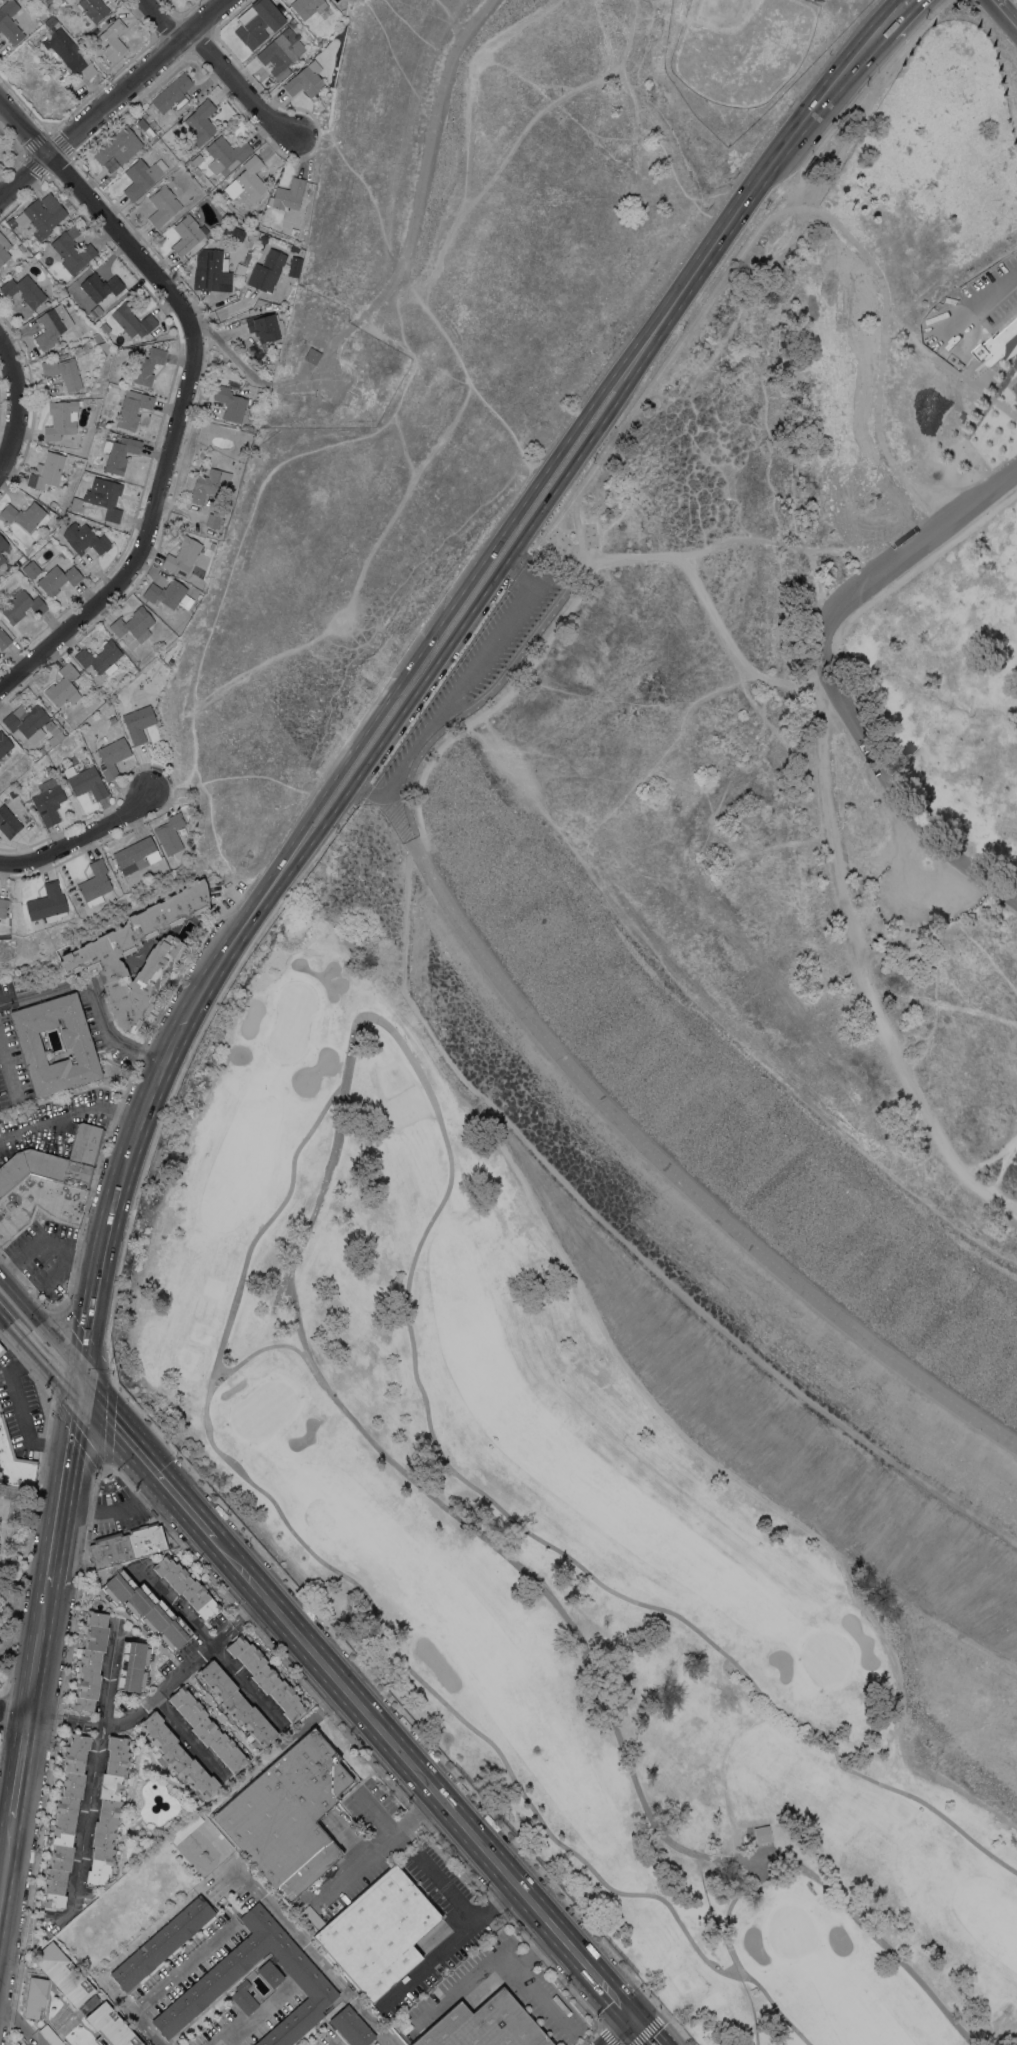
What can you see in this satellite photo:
park: (1015, 1)
building: (307, 7)
building: (92, 9)
road: (1004, 14)
road: (891, 15)
road: (159, 20)
building: (51, 21)
building: (9, 22)
building: (257, 22)
building: (44, 35)
building: (110, 40)
building: (29, 42)
park: (745, 48)
building: (69, 52)
building: (281, 52)
building: (37, 53)
road: (836, 77)
road: (871, 79)
building: (305, 80)
road: (238, 84)
building: (172, 94)
road: (112, 96)
building: (152, 123)
building: (199, 123)
building: (145, 128)
building: (116, 149)
building: (225, 155)
building: (197, 159)
building: (142, 176)
building: (247, 180)
road: (795, 186)
building: (289, 194)
building: (163, 205)
road: (100, 213)
building: (42, 215)
road: (413, 217)
building: (10, 222)
building: (233, 232)
road: (699, 232)
building: (187, 234)
building: (252, 235)
building: (21, 247)
building: (292, 249)
building: (72, 250)
building: (4, 252)
building: (245, 258)
building: (294, 266)
building: (209, 270)
building: (266, 271)
parking lot: (989, 273)
building: (101, 286)
building: (24, 290)
parking lot: (1000, 308)
building: (96, 311)
road: (971, 311)
building: (132, 320)
building: (52, 326)
building: (265, 326)
building: (104, 328)
road: (907, 335)
building: (97, 337)
building: (999, 345)
building: (104, 346)
road: (231, 353)
building: (312, 355)
building: (146, 366)
building: (63, 372)
parking lot: (1014, 387)
road: (648, 388)
road: (976, 389)
building: (230, 403)
road: (17, 406)
building: (132, 407)
building: (61, 419)
building: (120, 454)
building: (50, 472)
building: (84, 481)
building: (209, 484)
road: (942, 489)
road: (914, 497)
building: (107, 499)
building: (76, 504)
building: (89, 510)
road: (516, 511)
building: (26, 515)
building: (213, 520)
road: (531, 521)
road: (145, 535)
building: (85, 539)
building: (2, 543)
building: (63, 555)
building: (182, 557)
building: (2, 558)
building: (21, 559)
building: (31, 568)
building: (57, 579)
building: (81, 585)
building: (165, 593)
building: (21, 605)
road: (707, 606)
building: (134, 624)
building: (4, 640)
building: (99, 656)
parking lot: (480, 657)
road: (826, 674)
building: (63, 686)
road: (456, 687)
building: (112, 719)
building: (27, 721)
building: (138, 722)
building: (53, 733)
building: (4, 744)
building: (42, 749)
building: (112, 756)
building: (48, 767)
building: (86, 781)
building: (12, 793)
building: (48, 801)
road: (398, 821)
building: (8, 822)
building: (169, 833)
road: (80, 838)
building: (135, 855)
building: (163, 869)
dam: (498, 879)
building: (95, 881)
building: (47, 903)
building: (3, 906)
building: (89, 956)
road: (860, 970)
road: (94, 995)
park: (291, 1022)
building: (76, 1039)
road: (174, 1040)
park: (380, 1049)
road: (7, 1072)
park: (399, 1094)
road: (71, 1113)
road: (502, 1119)
park: (359, 1126)
building: (56, 1161)
dam: (920, 1161)
road: (681, 1180)
road: (318, 1195)
building: (38, 1204)
road: (45, 1242)
road: (95, 1282)
park: (212, 1289)
road: (22, 1323)
road: (45, 1324)
park: (198, 1328)
building: (2, 1349)
road: (259, 1349)
park: (186, 1357)
dam: (780, 1360)
road: (61, 1364)
traffic signals: (78, 1382)
road: (17, 1405)
building: (0, 1407)
park: (264, 1409)
road: (145, 1459)
building: (14, 1462)
road: (63, 1483)
road: (116, 1511)
road: (523, 1530)
building: (127, 1545)
park: (887, 1546)
road: (342, 1575)
building: (186, 1586)
road: (548, 1596)
building: (146, 1610)
road: (252, 1610)
park: (635, 1617)
road: (232, 1623)
road: (234, 1626)
road: (227, 1627)
road: (229, 1630)
road: (210, 1643)
road: (39, 1650)
park: (827, 1658)
building: (91, 1661)
building: (134, 1666)
road: (109, 1677)
building: (266, 1677)
road: (167, 1685)
building: (236, 1703)
road: (14, 1711)
road: (46, 1717)
building: (207, 1729)
road: (185, 1735)
building: (177, 1755)
park: (768, 1756)
road: (21, 1765)
road: (426, 1776)
park: (814, 1787)
road: (89, 1797)
building: (108, 1811)
building: (289, 1814)
building: (65, 1820)
building: (762, 1834)
road: (373, 1851)
road: (753, 1865)
road: (7, 1868)
road: (447, 1887)
road: (255, 1889)
park: (659, 1914)
park: (791, 1931)
building: (376, 1933)
road: (449, 1940)
building: (162, 1943)
road: (882, 1946)
road: (182, 1966)
road: (735, 1966)
park: (680, 1970)
building: (63, 1973)
building: (270, 1973)
building: (218, 1977)
road: (523, 1977)
building: (35, 1997)
building: (244, 1997)
road: (130, 2009)
road: (252, 2019)
building: (482, 2025)
building: (110, 2026)
building: (351, 2026)
road: (622, 2030)
road: (651, 2030)
building: (49, 2035)
road: (335, 2044)

